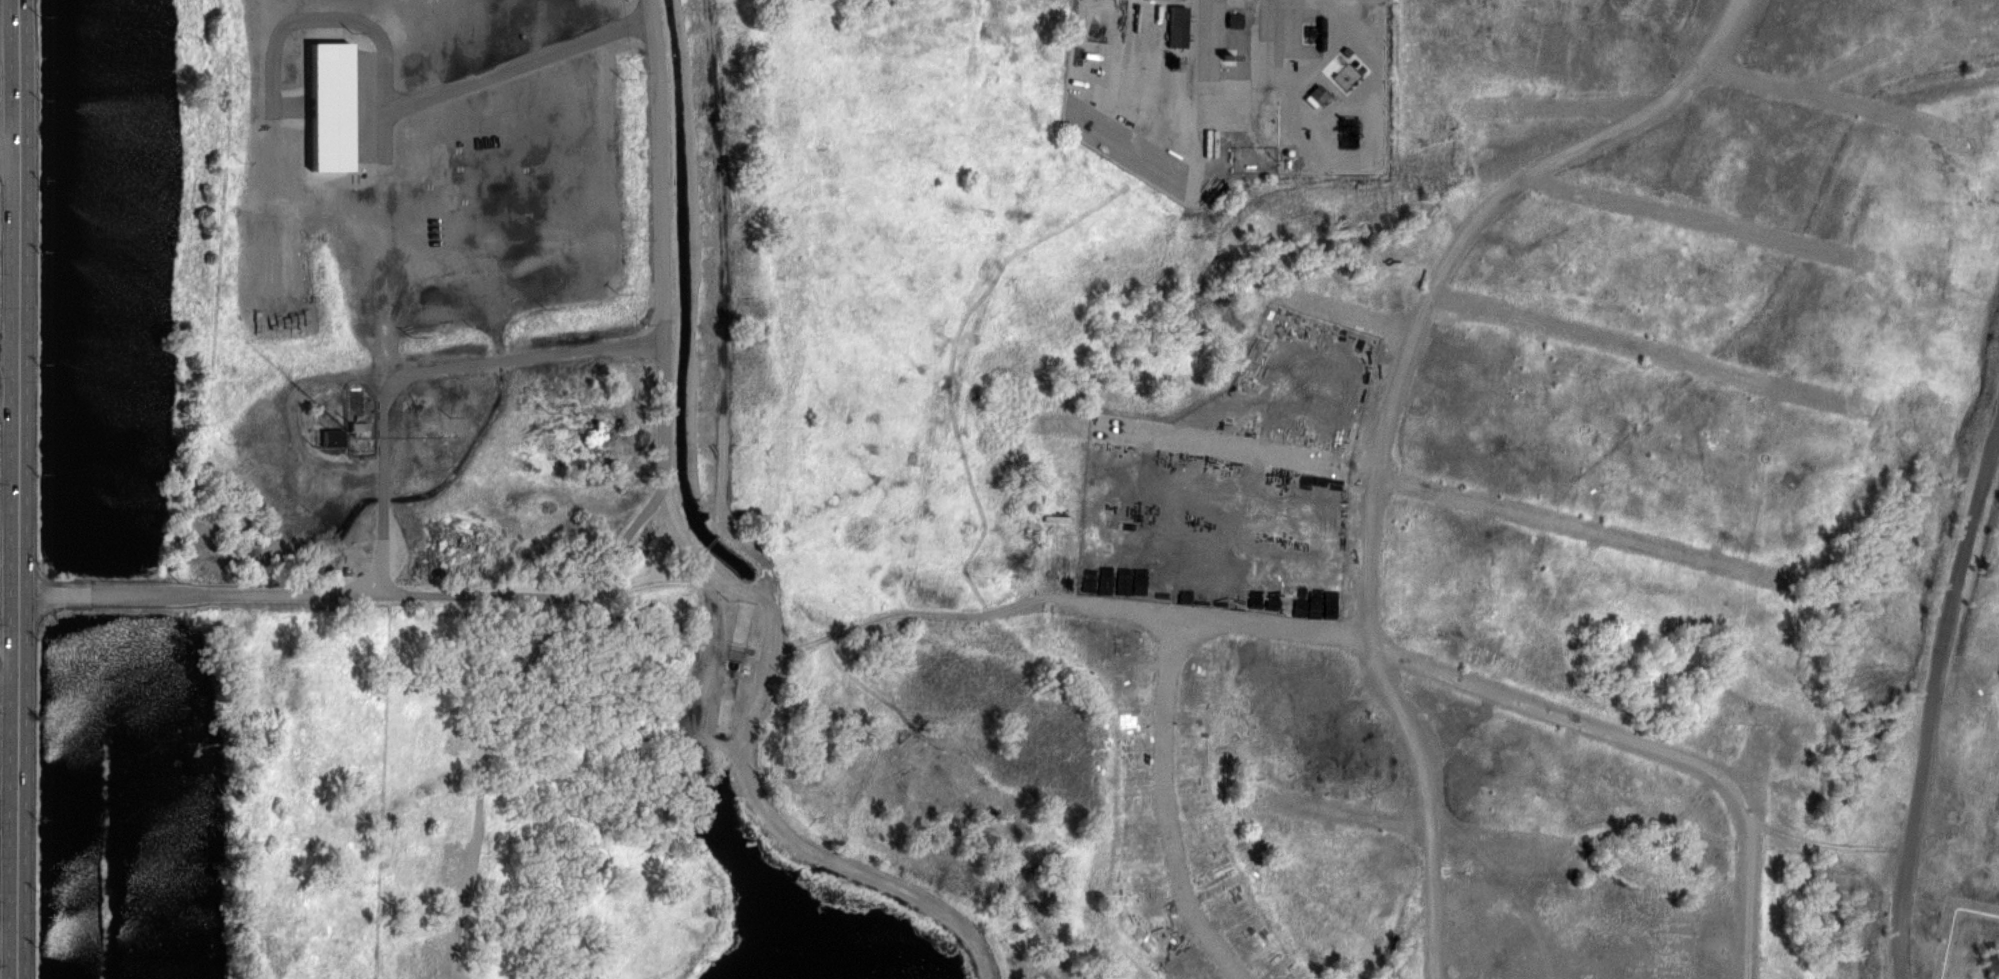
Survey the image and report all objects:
building: (1227, 20)
building: (1171, 26)
road: (9, 34)
road: (523, 61)
building: (328, 106)
road: (9, 122)
road: (9, 149)
road: (9, 349)
road: (417, 373)
road: (9, 404)
building: (331, 437)
road: (17, 489)
road: (8, 648)
road: (8, 940)

